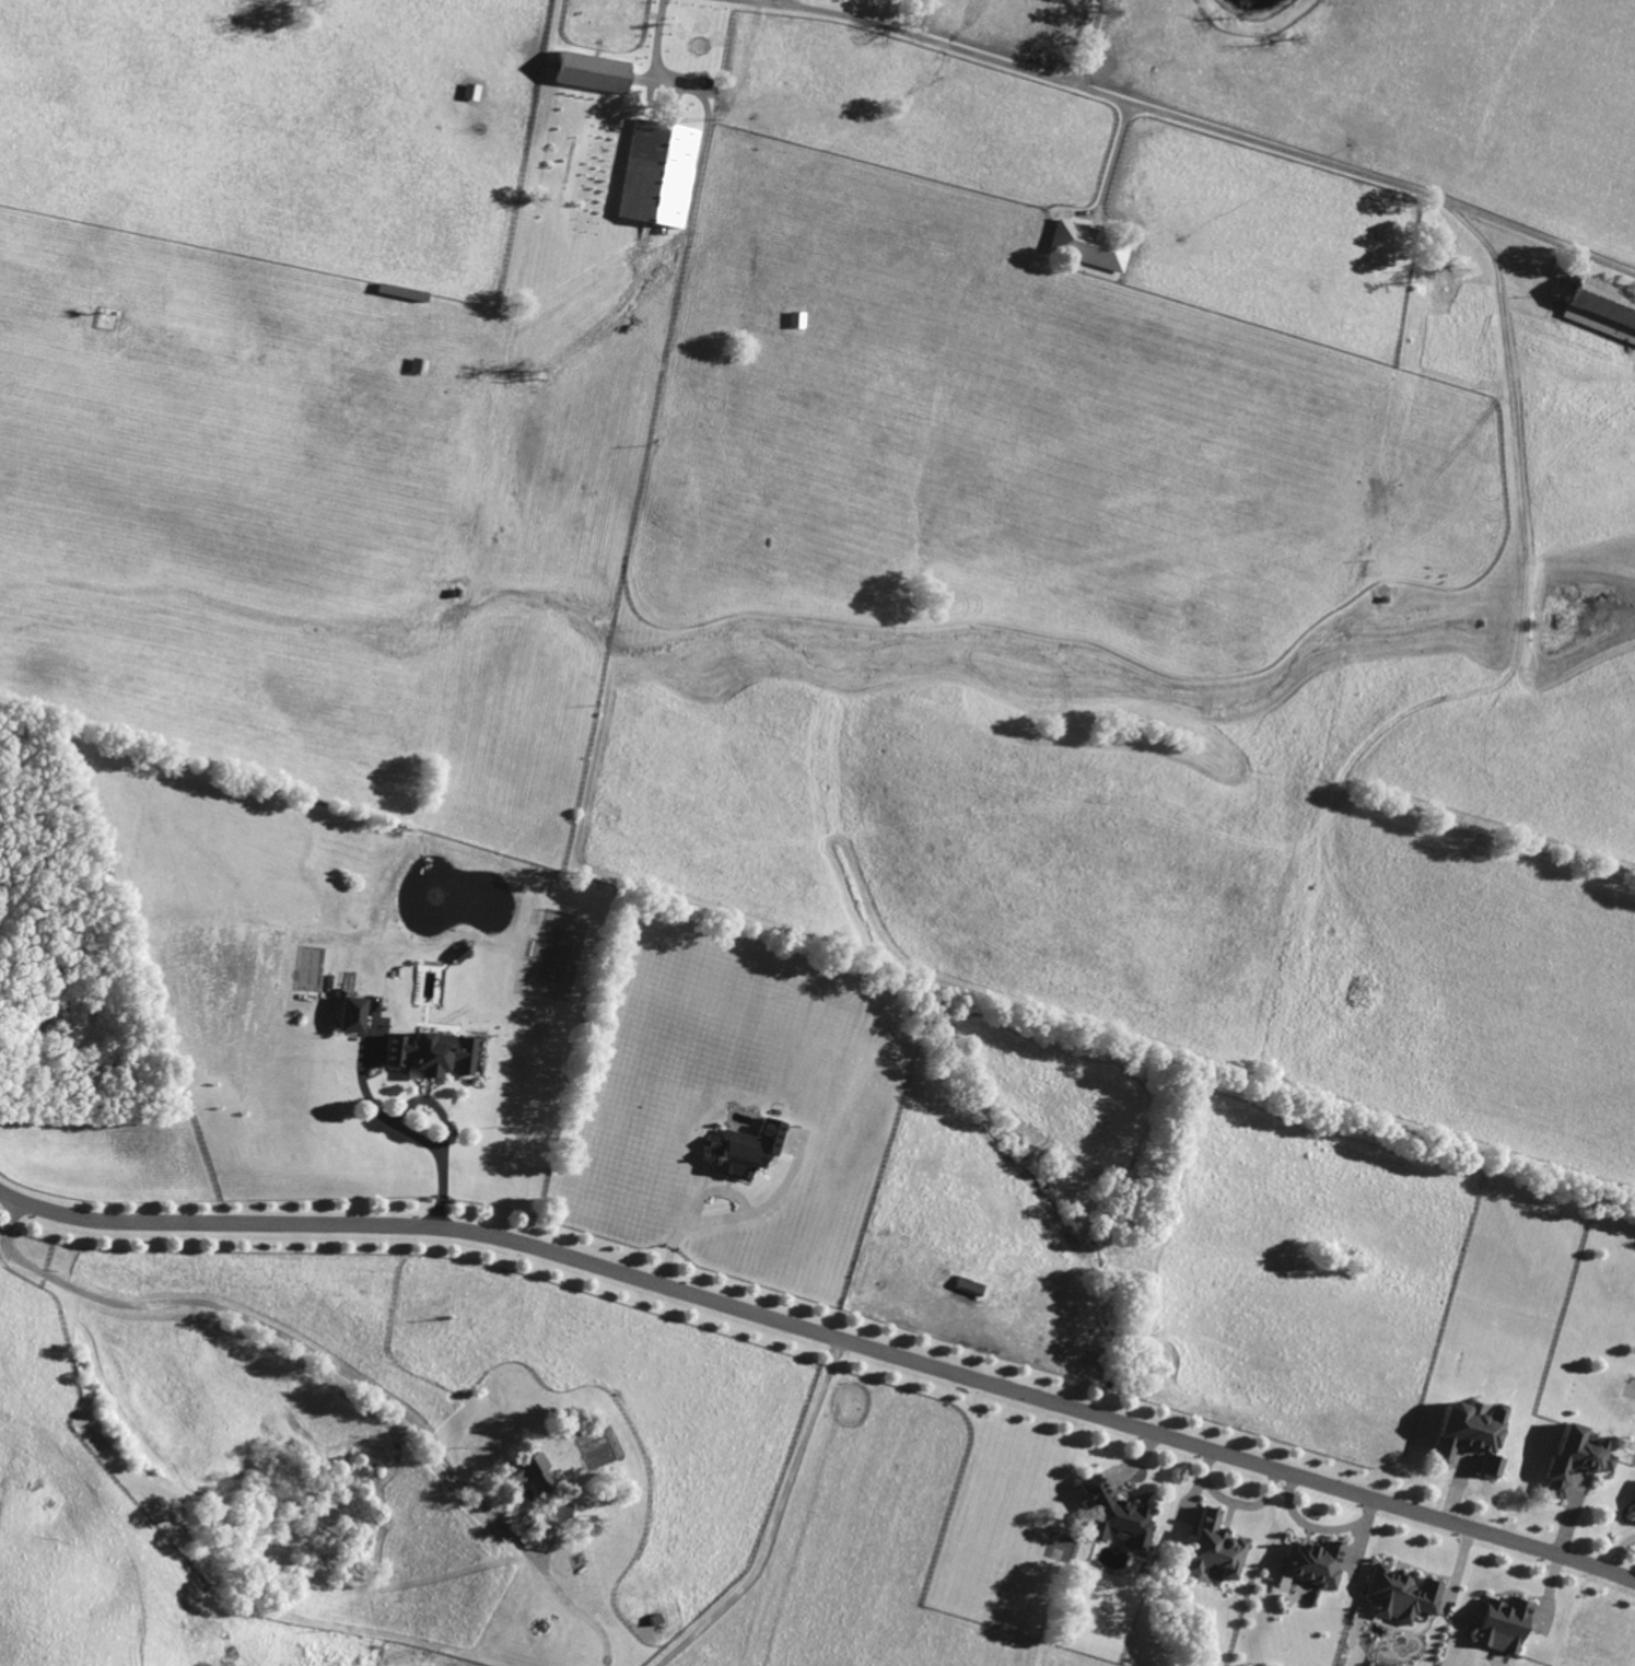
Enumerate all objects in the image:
road: (657, 39)
road: (1090, 42)
building: (592, 71)
road: (1096, 91)
road: (1114, 160)
building: (657, 173)
building: (1089, 246)
building: (1602, 307)
building: (796, 319)
building: (352, 1014)
building: (432, 1053)
road: (432, 1102)
road: (394, 1125)
building: (747, 1149)
road: (716, 1188)
road: (737, 1214)
road: (276, 1331)
road: (826, 1332)
building: (1470, 1434)
building: (1574, 1458)
building: (530, 1472)
building: (1113, 1516)
road: (776, 1518)
building: (1214, 1546)
road: (1619, 1551)
building: (1312, 1563)
building: (1400, 1595)
building: (1502, 1624)

